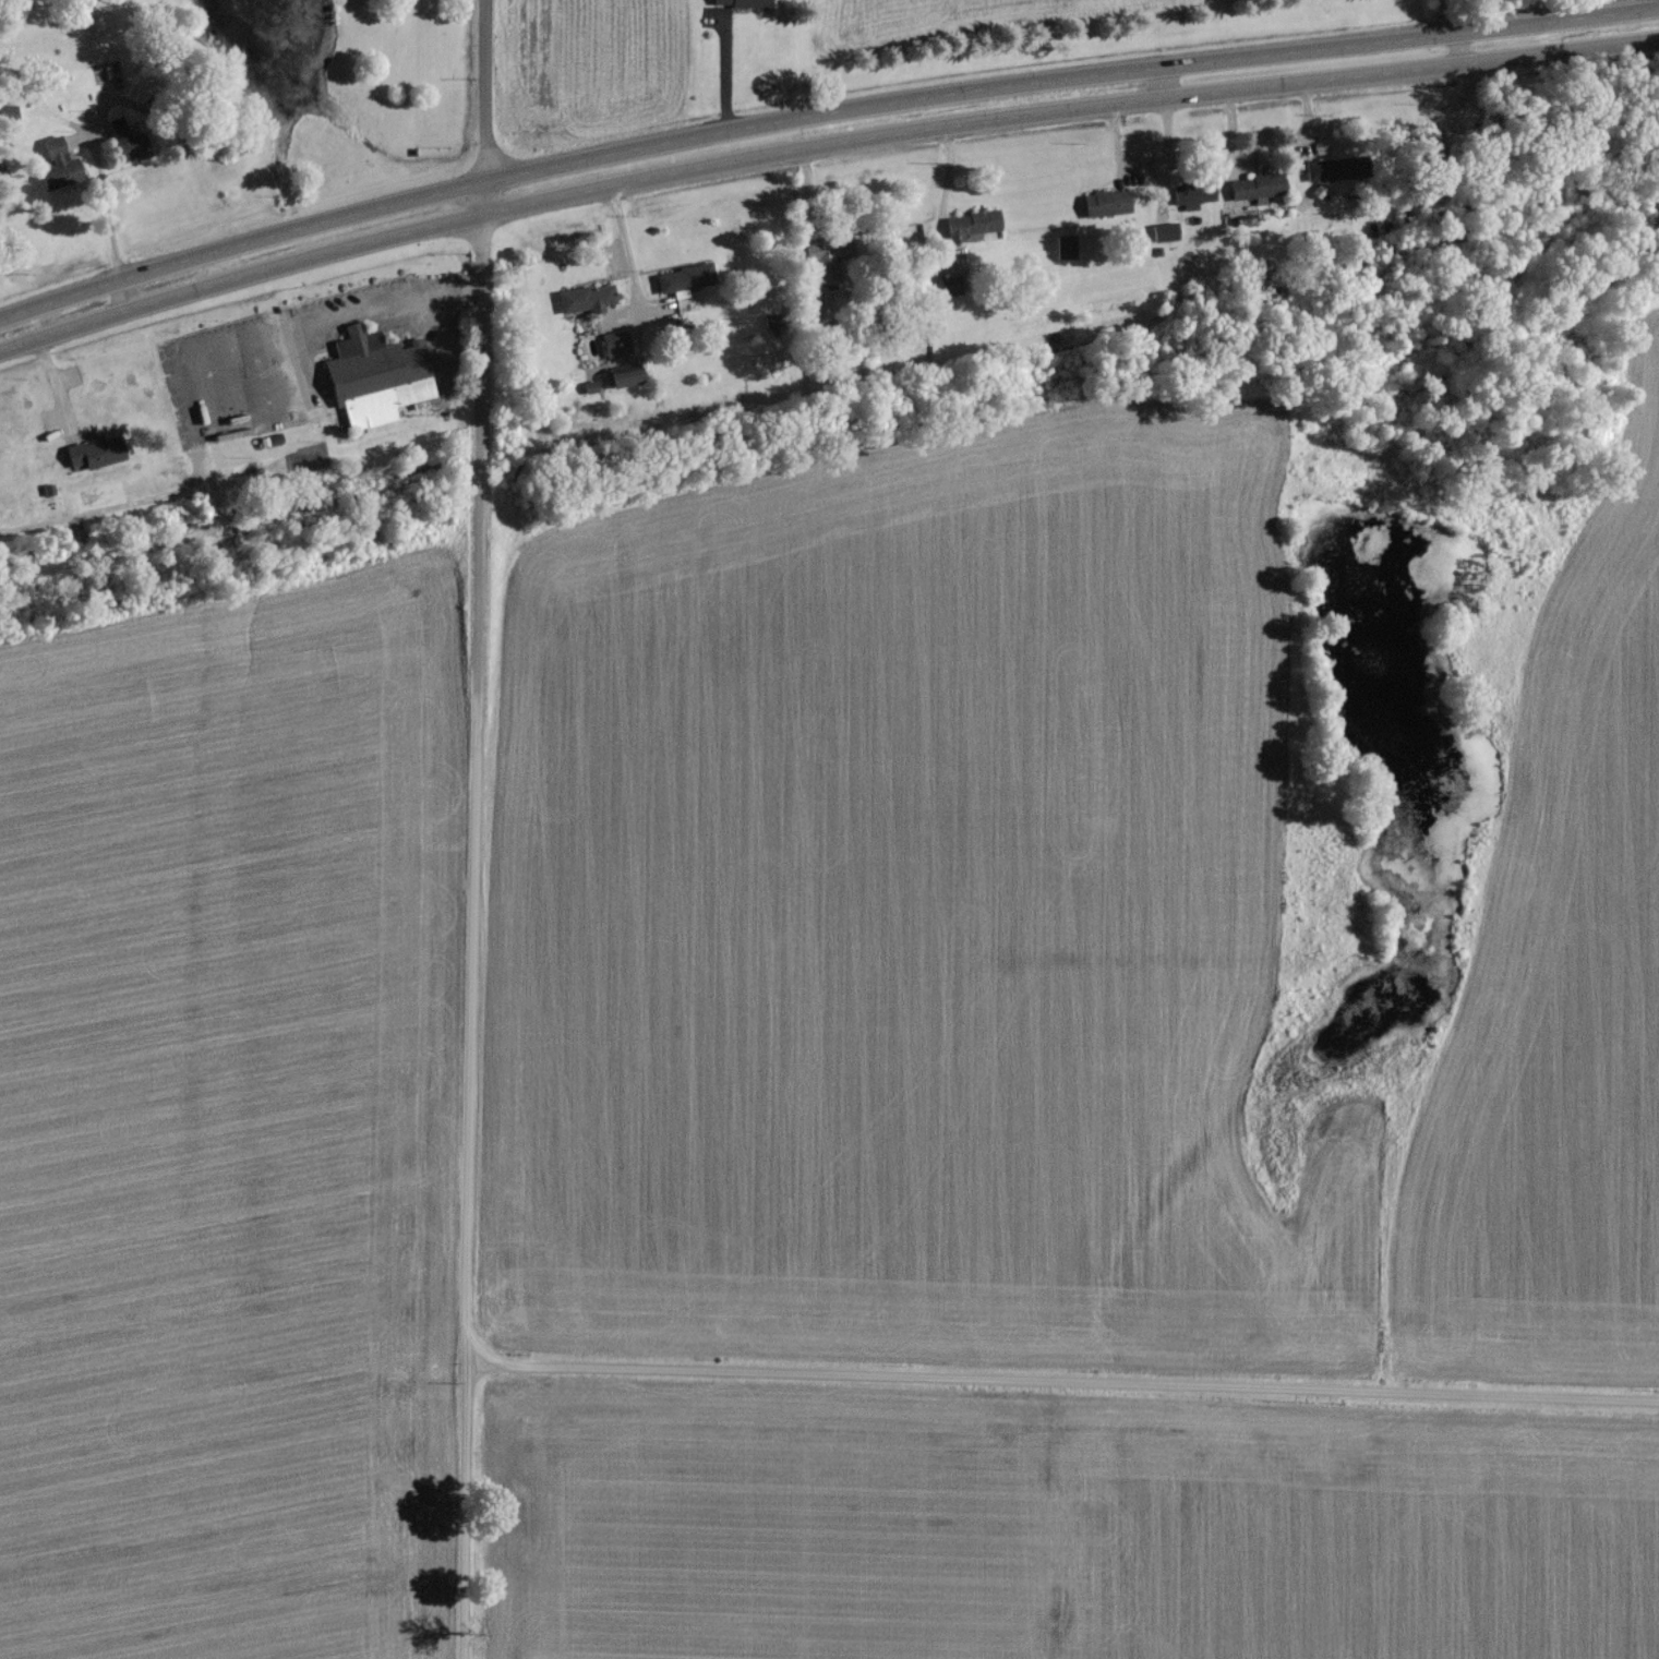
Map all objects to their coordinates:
building: (745, 1)
road: (1448, 15)
road: (1455, 46)
road: (729, 64)
road: (1161, 80)
road: (820, 115)
building: (129, 139)
road: (820, 144)
building: (61, 164)
building: (1332, 167)
building: (1259, 184)
road: (948, 192)
building: (1193, 193)
building: (1109, 201)
road: (112, 211)
building: (973, 224)
building: (1167, 230)
building: (1067, 245)
road: (633, 252)
building: (831, 268)
building: (686, 276)
building: (588, 297)
road: (338, 313)
building: (617, 341)
building: (625, 374)
building: (380, 375)
building: (95, 450)
road: (476, 829)
road: (1062, 1379)

